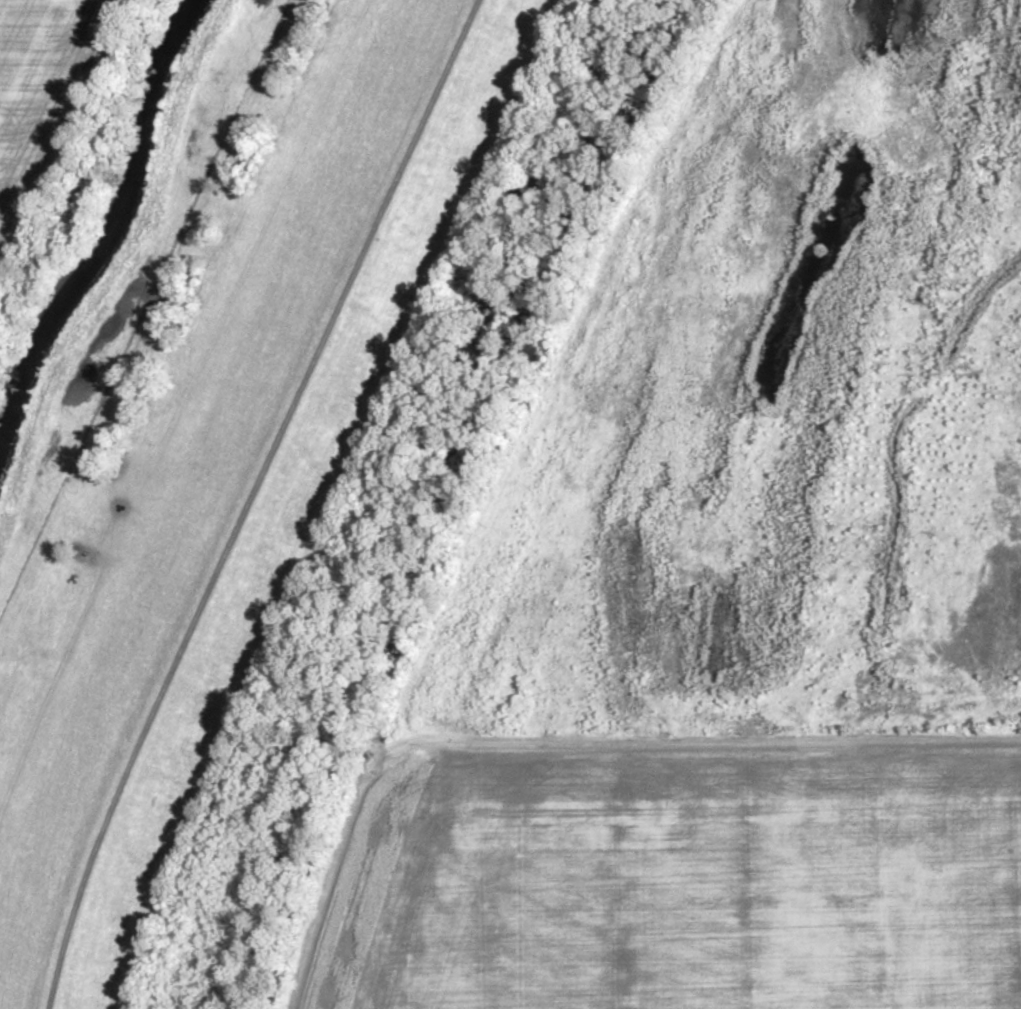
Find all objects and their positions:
road: (250, 499)

